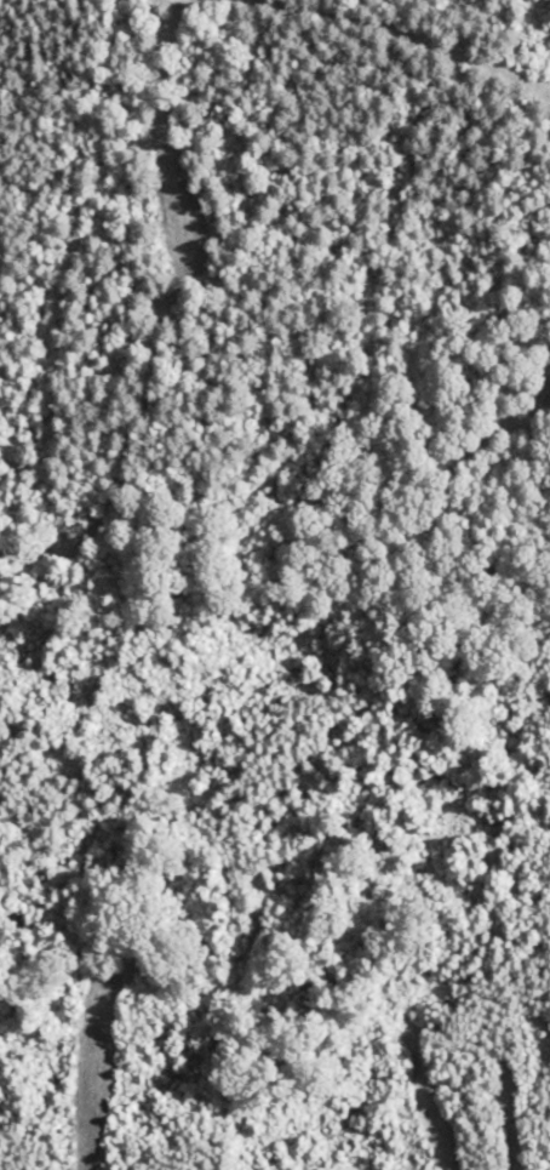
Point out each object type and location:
road: (457, 8)

